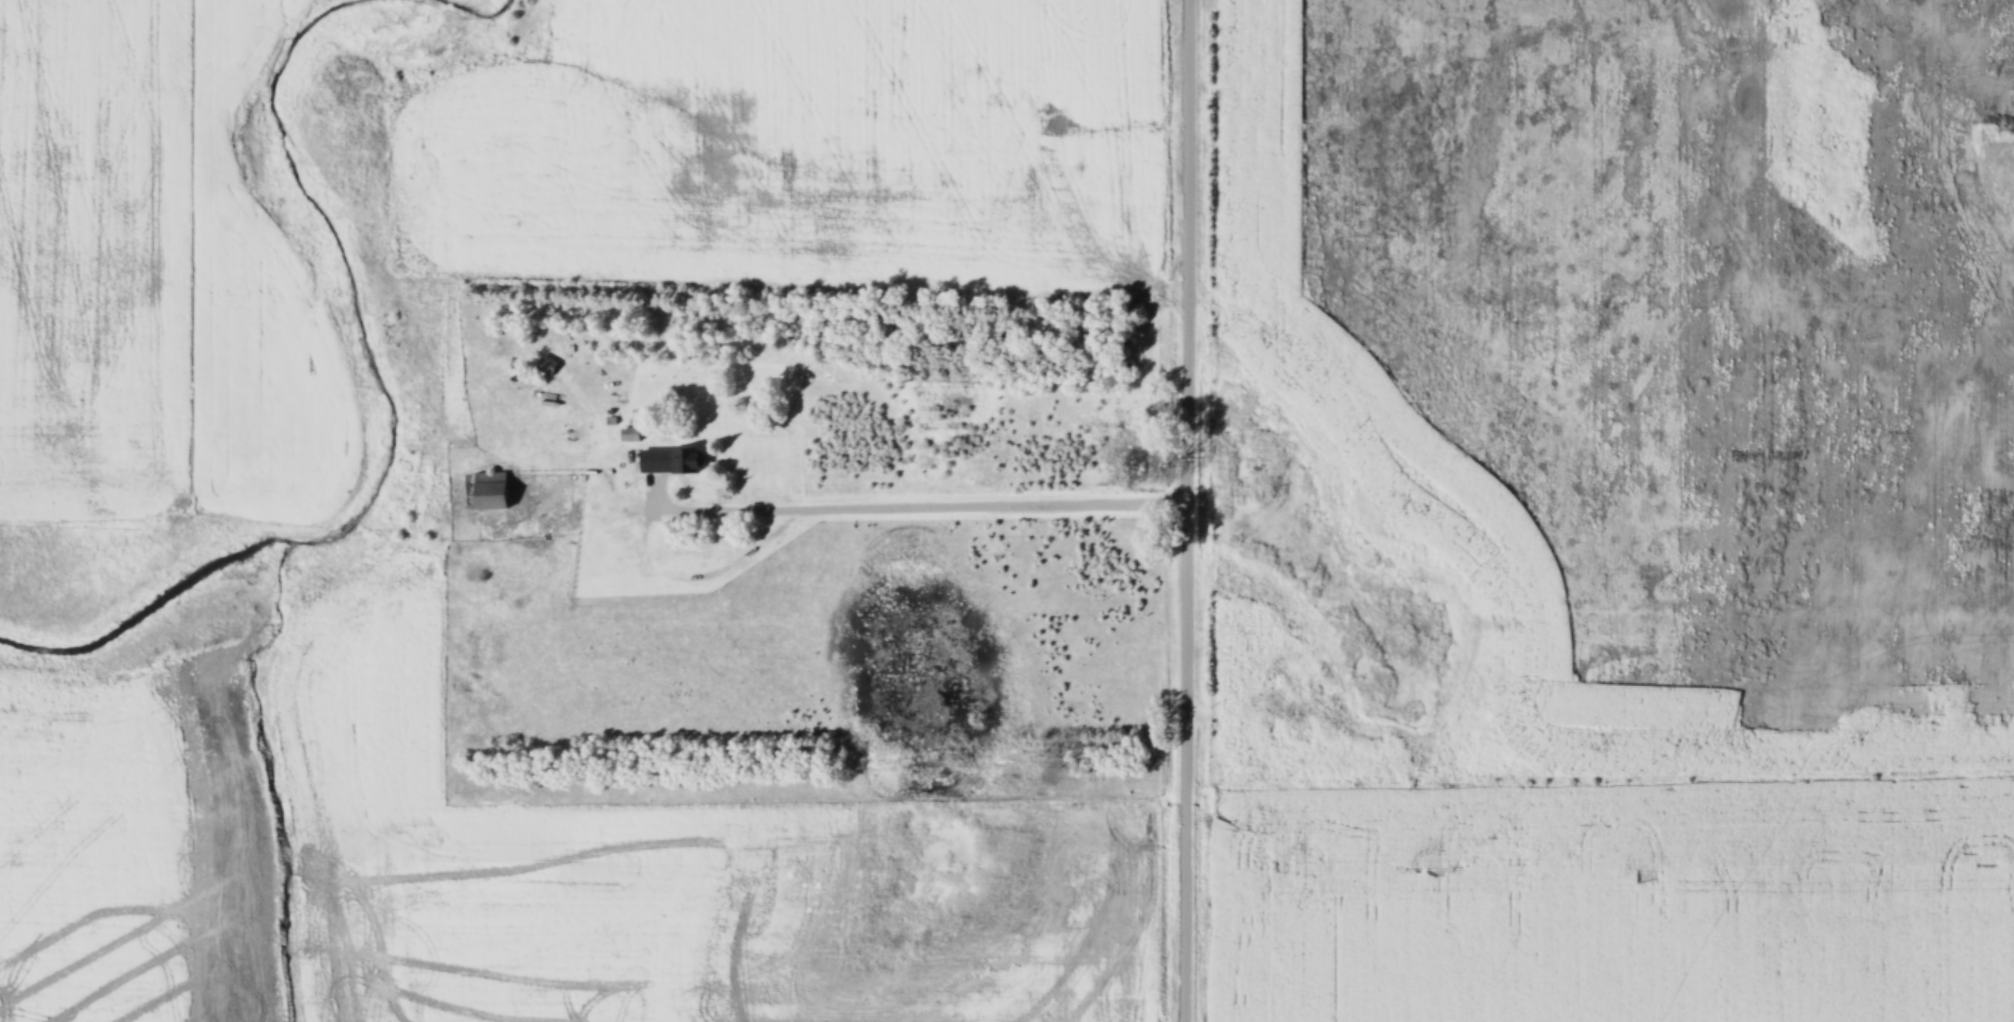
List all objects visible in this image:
road: (1188, 252)
building: (632, 435)
building: (674, 462)
building: (494, 491)
road: (995, 505)
road: (647, 532)
road: (1187, 763)

